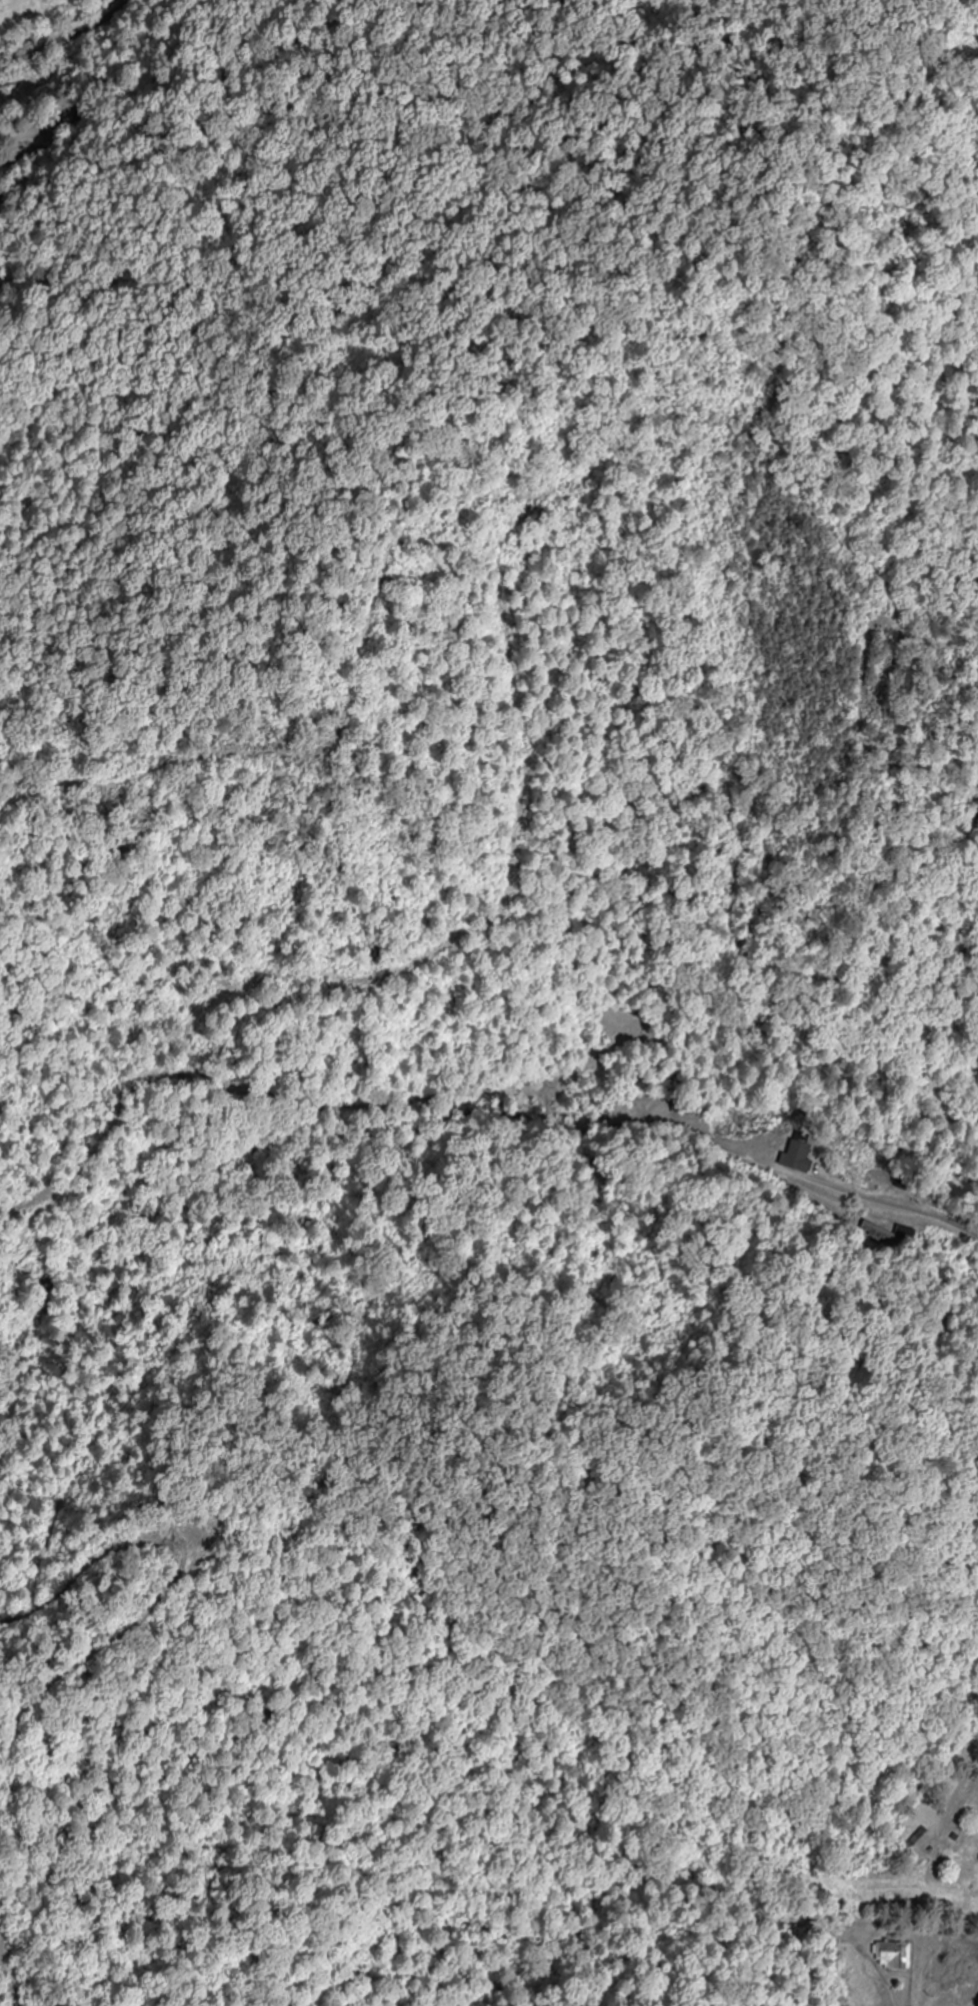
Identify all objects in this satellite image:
road: (66, 37)
building: (11, 88)
road: (969, 1155)
building: (798, 1156)
road: (817, 1224)
building: (895, 1955)

